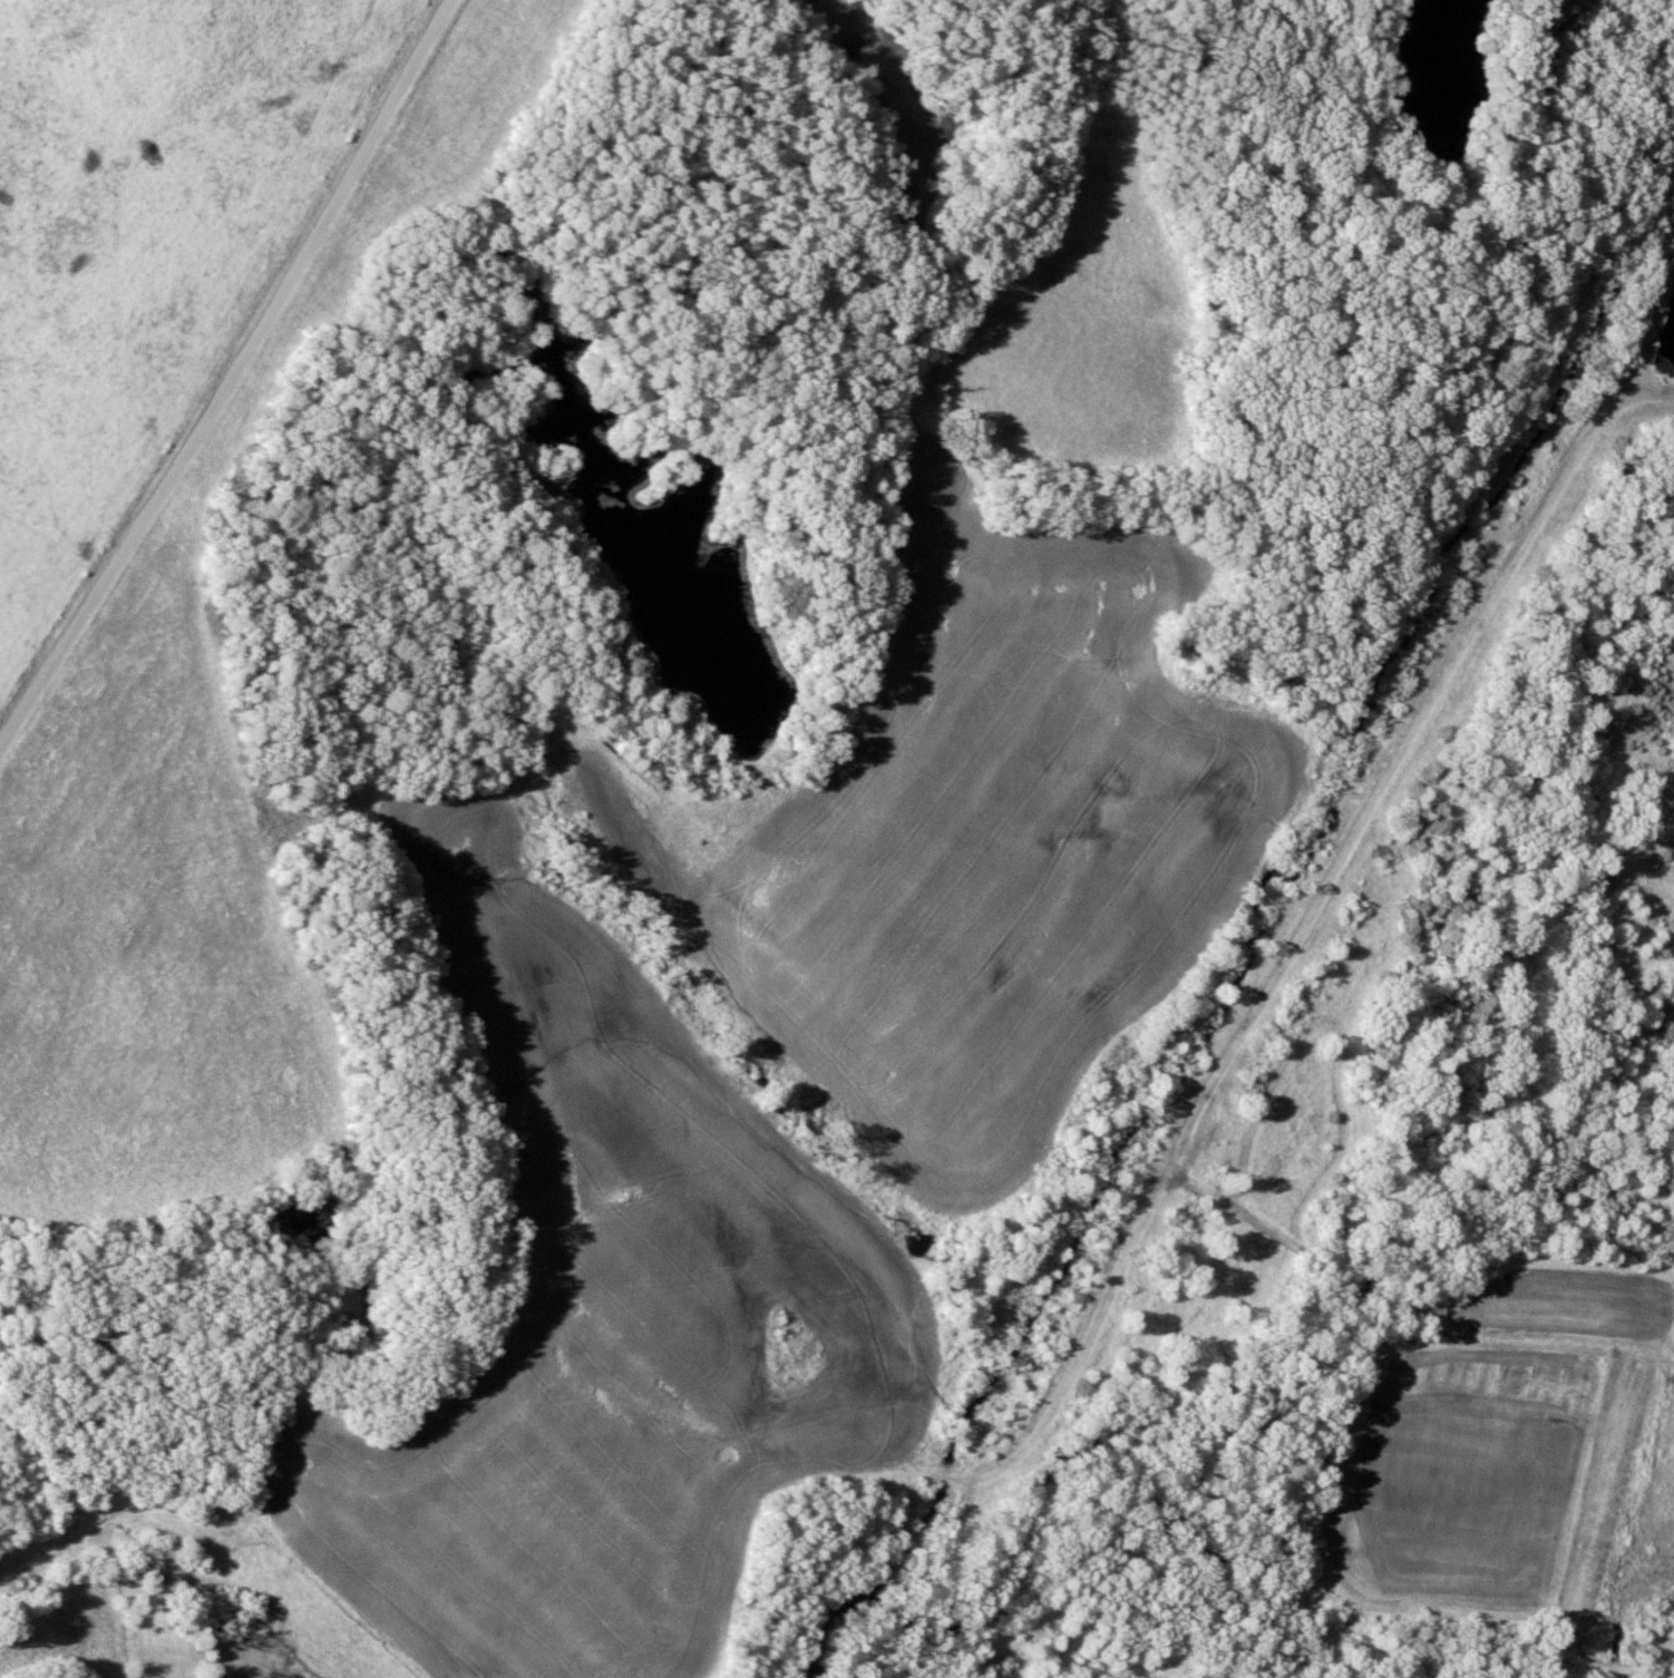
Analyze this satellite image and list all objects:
road: (226, 373)
road: (132, 1499)

